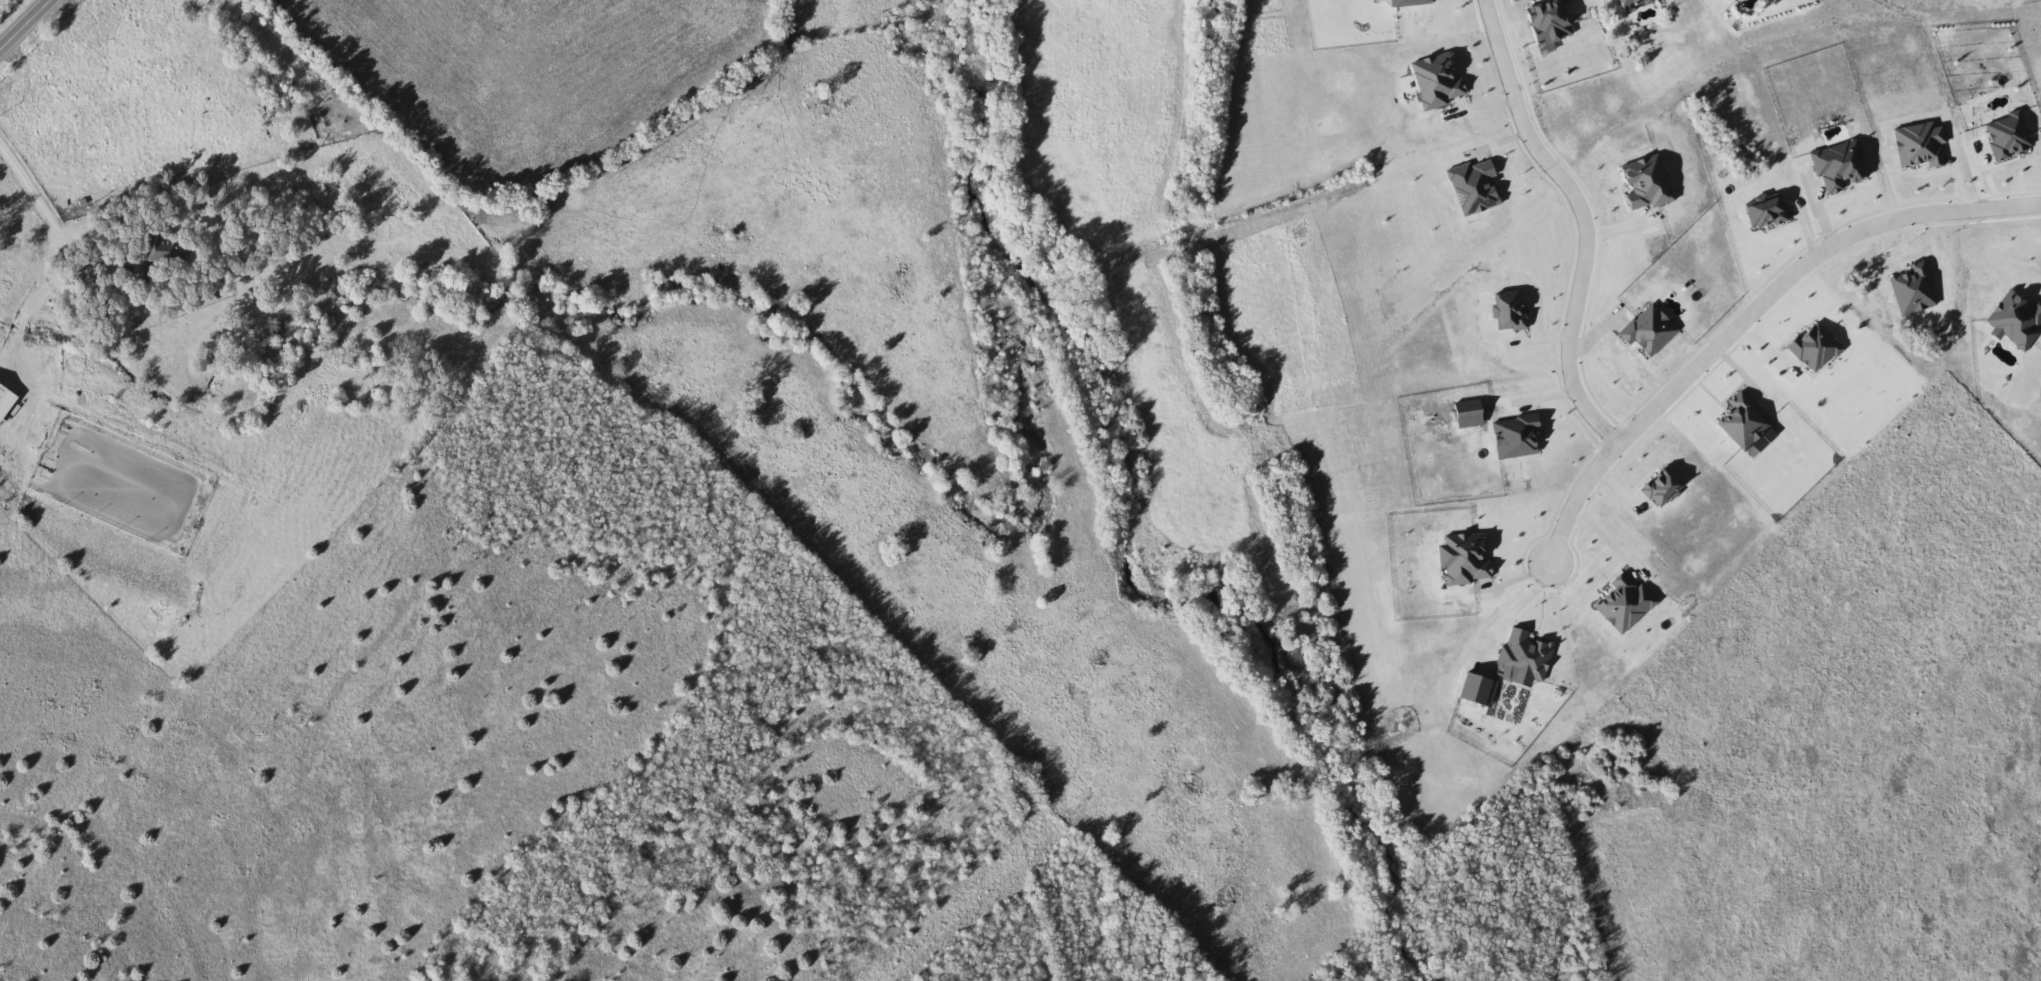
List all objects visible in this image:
road: (23, 23)
road: (31, 183)
road: (1584, 216)
road: (1749, 312)
road: (1608, 537)

